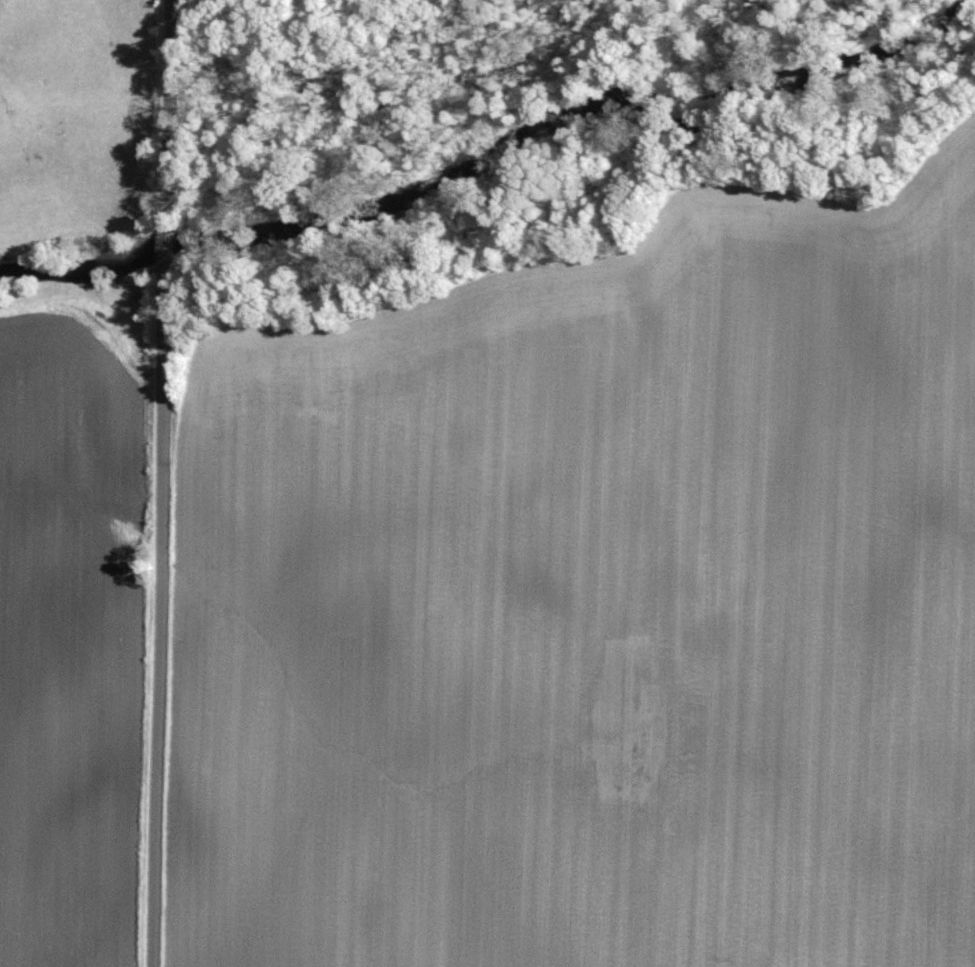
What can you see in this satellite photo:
road: (165, 122)
road: (158, 605)

